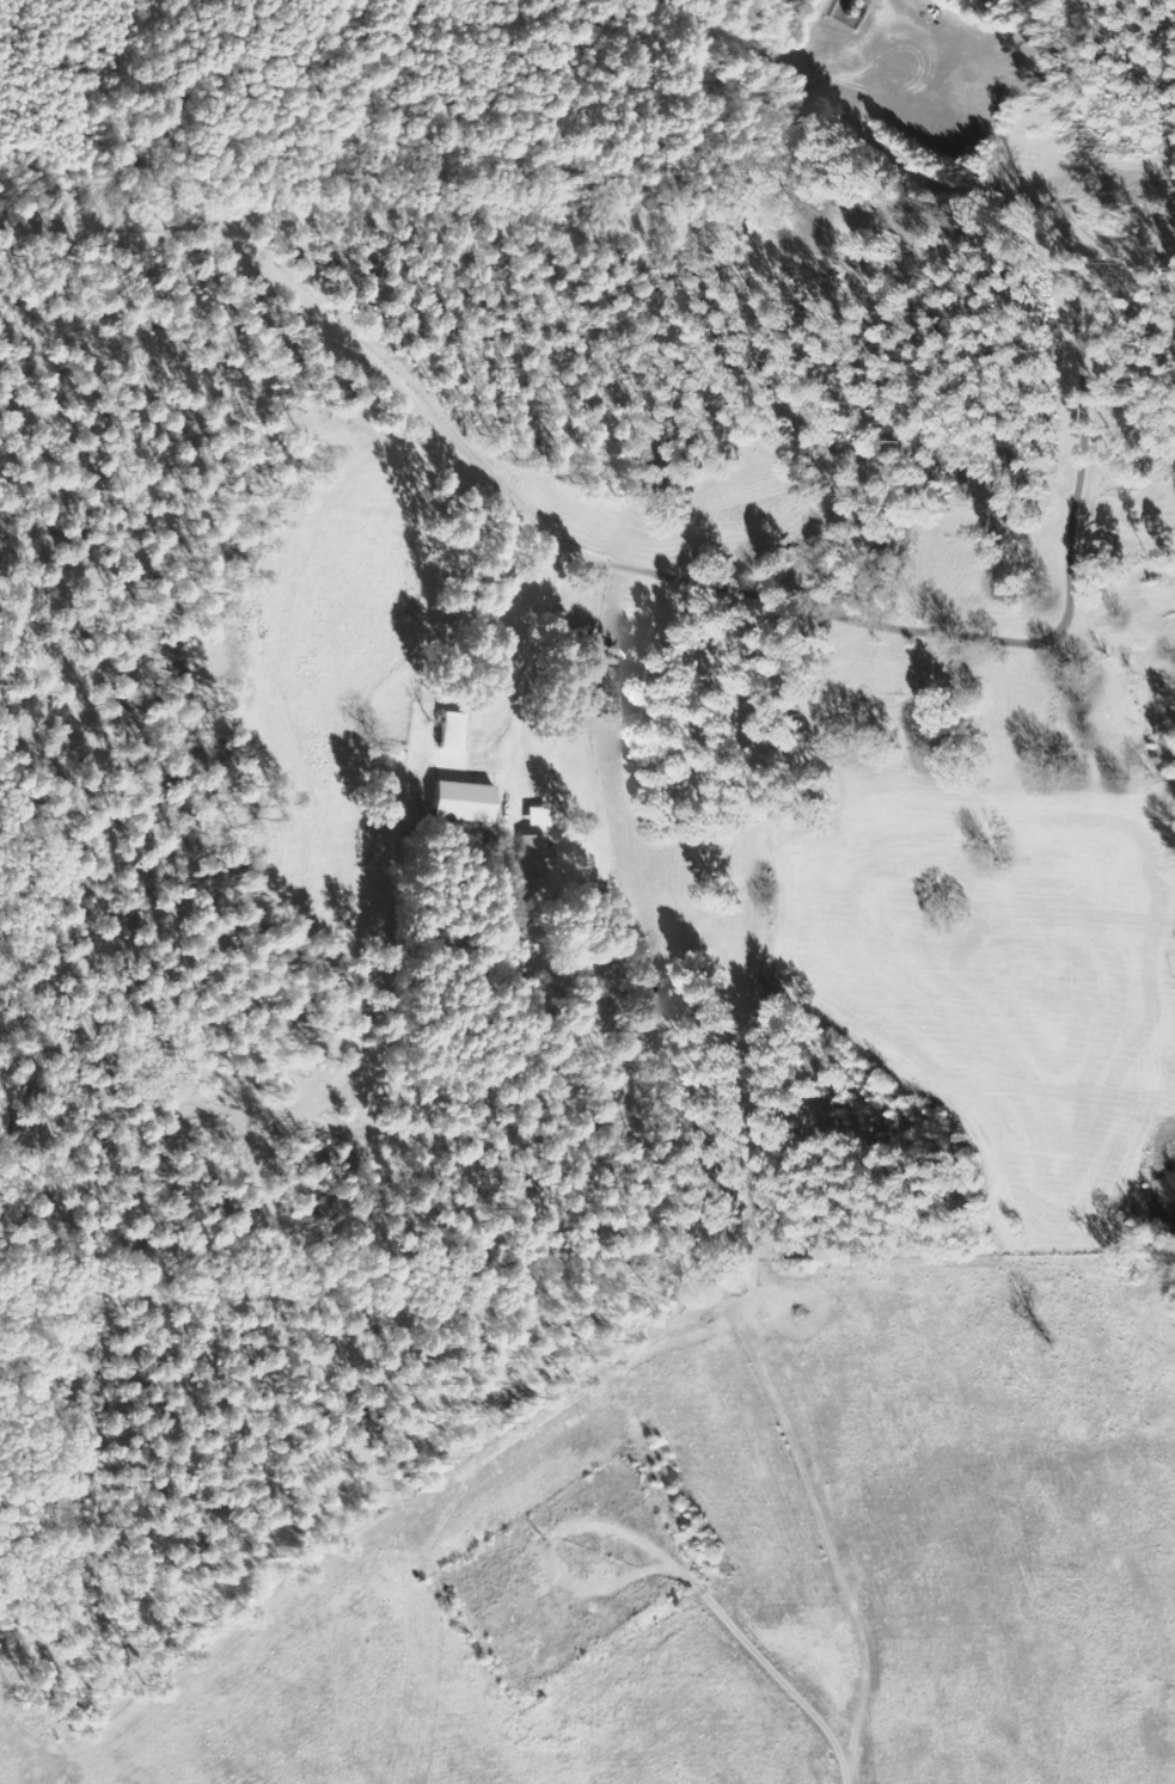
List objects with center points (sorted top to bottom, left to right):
road: (122, 221)
road: (830, 612)
road: (532, 664)
building: (452, 729)
building: (543, 814)
building: (534, 862)

